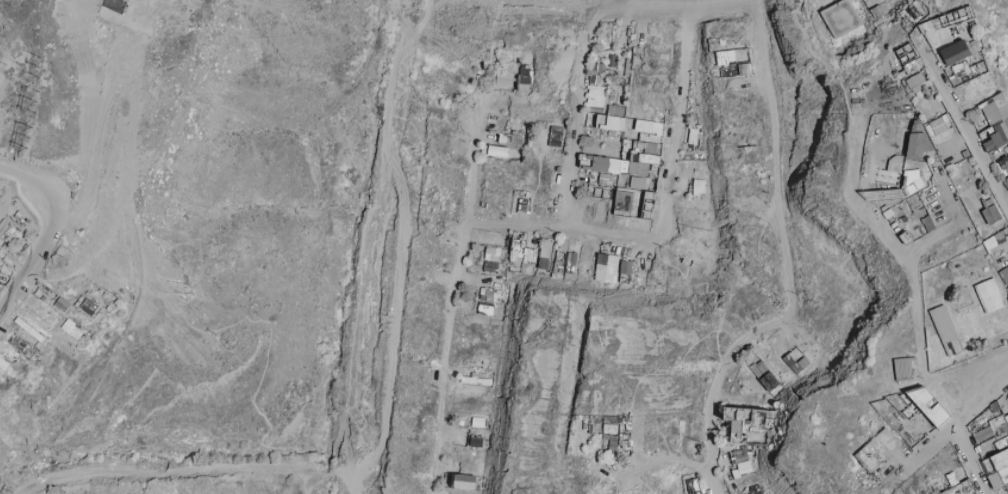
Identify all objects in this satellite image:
power tower: (42, 91)
power tower: (36, 125)

